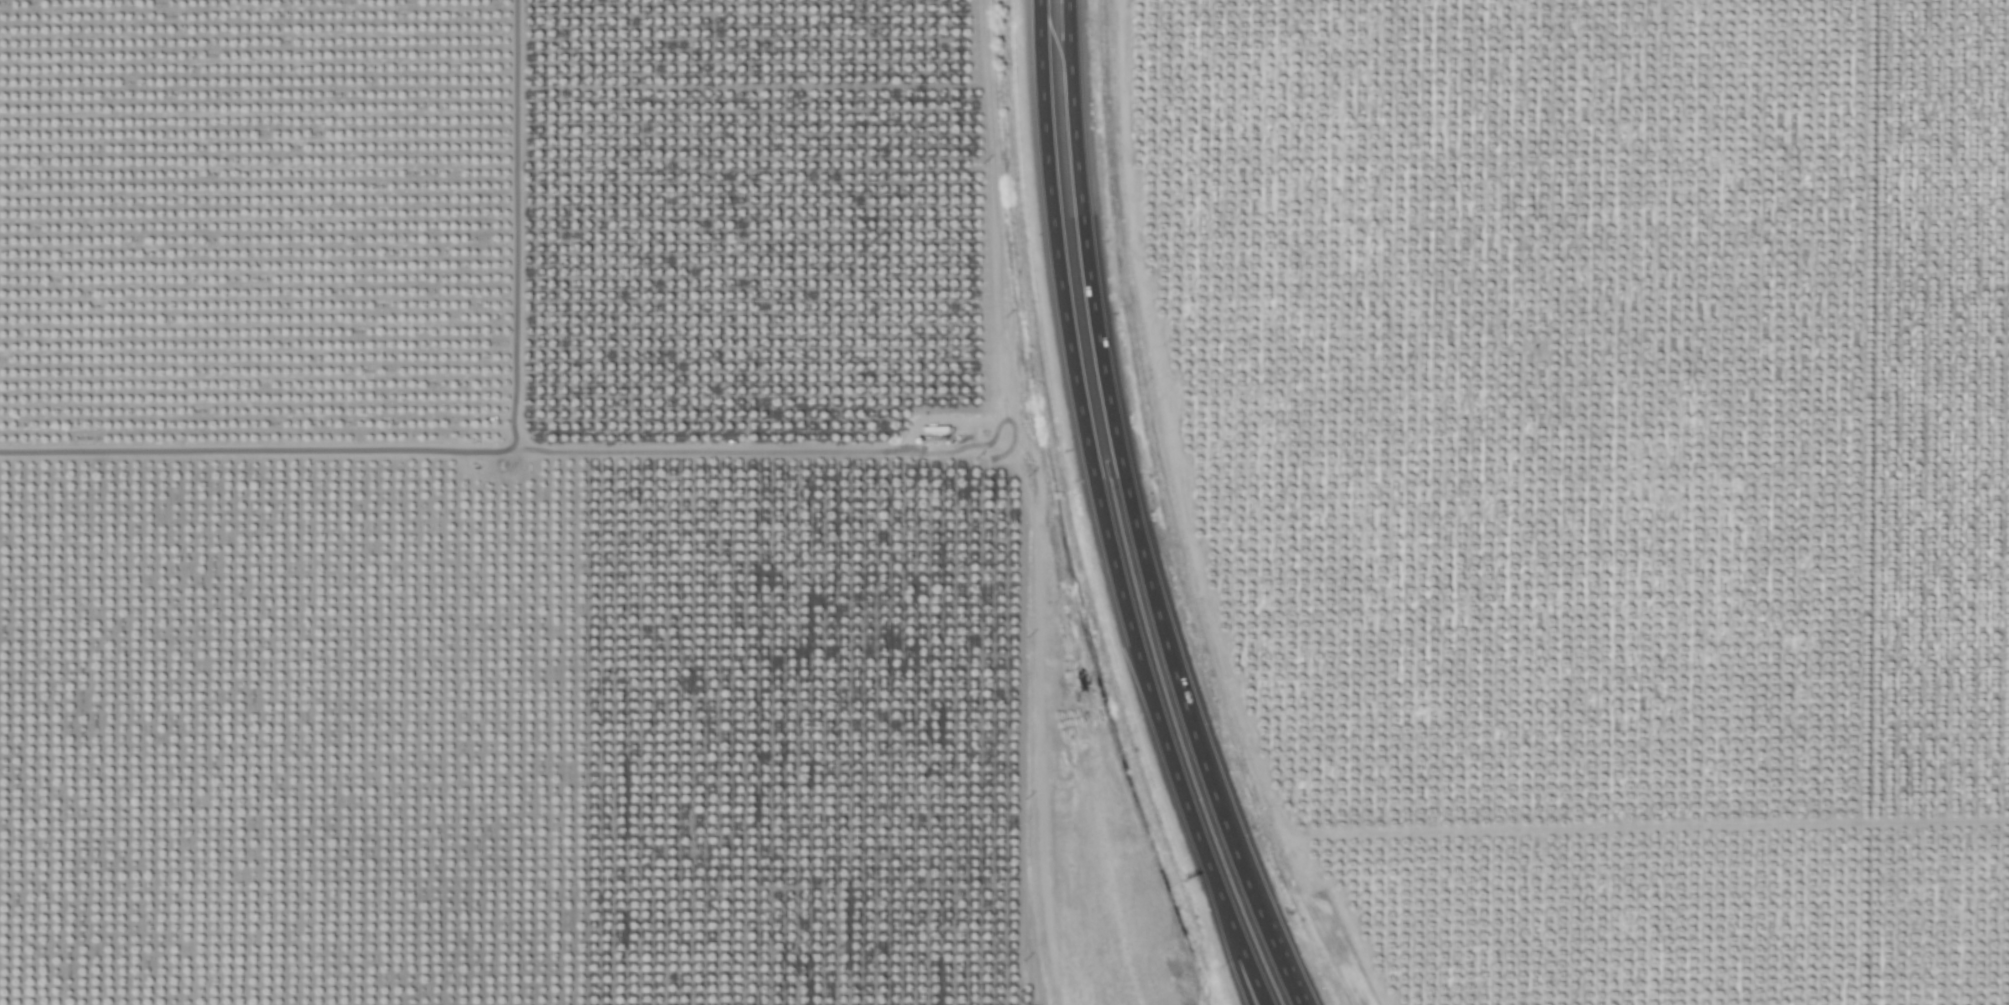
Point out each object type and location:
road: (1054, 15)
road: (1069, 239)
road: (504, 450)
road: (1178, 686)
road: (1160, 730)
road: (1280, 965)
road: (1235, 967)

